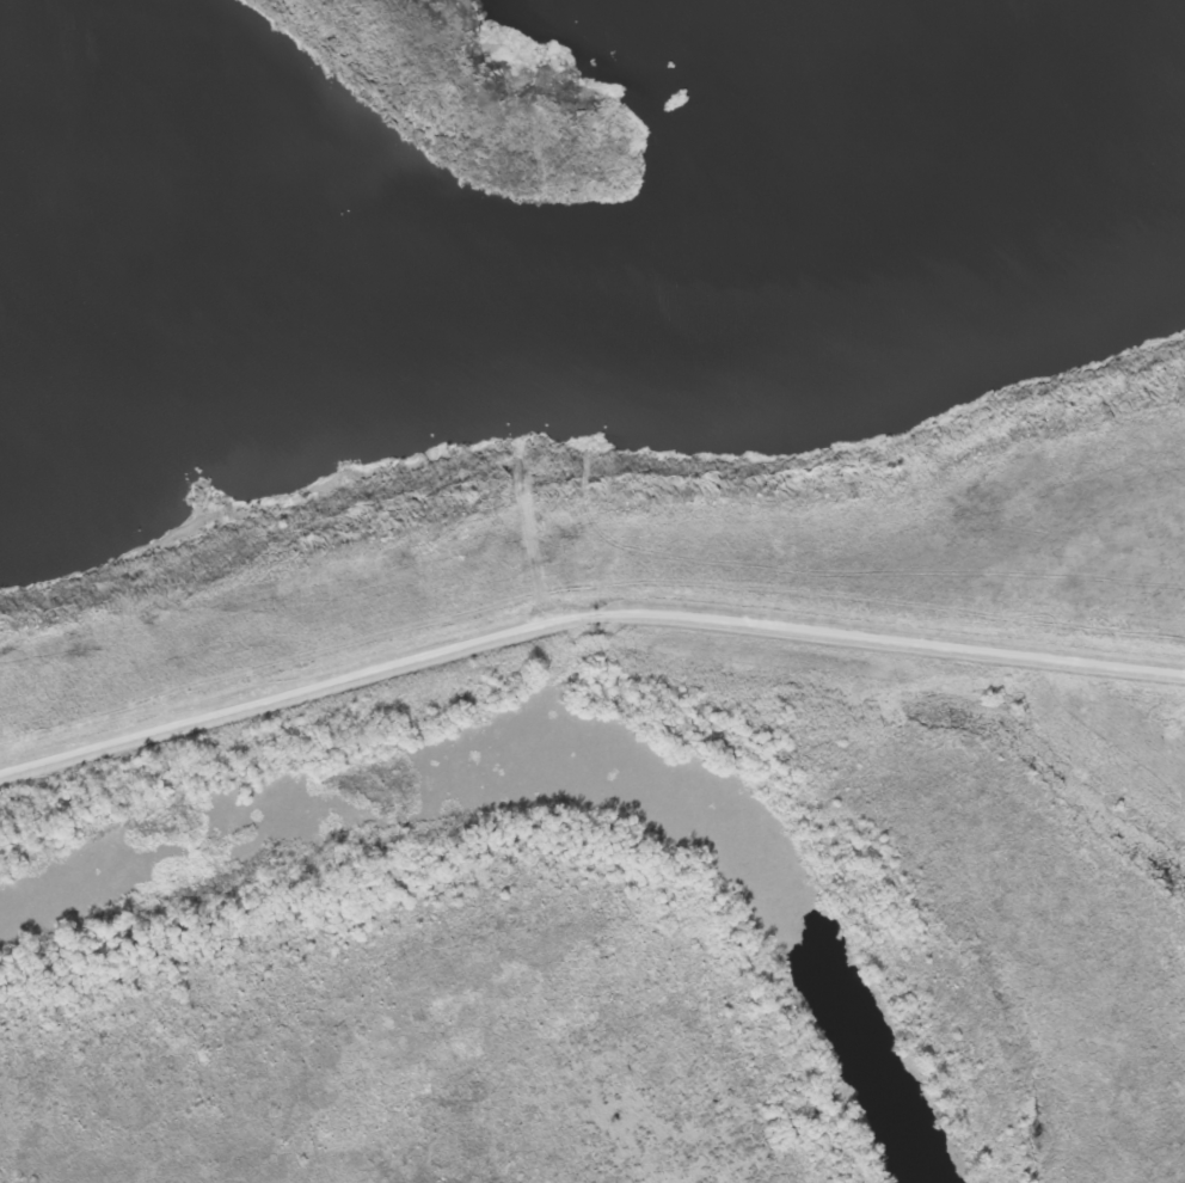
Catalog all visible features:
road: (583, 615)

